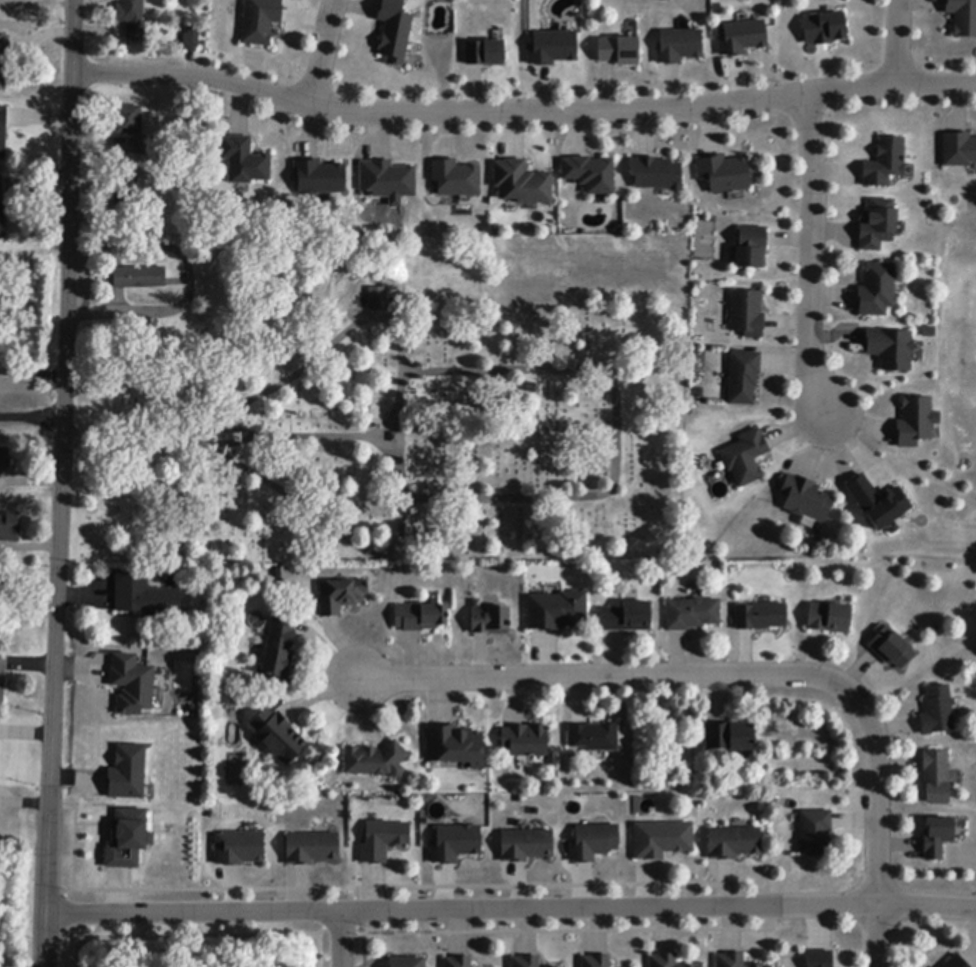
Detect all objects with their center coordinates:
building: (962, 16)
building: (132, 19)
building: (260, 21)
building: (824, 29)
building: (394, 31)
building: (191, 38)
building: (742, 38)
road: (898, 44)
building: (679, 46)
building: (552, 48)
building: (619, 51)
road: (319, 54)
building: (485, 54)
building: (4, 59)
road: (522, 113)
building: (129, 120)
building: (3, 132)
building: (144, 146)
building: (959, 150)
building: (244, 161)
building: (885, 163)
building: (590, 174)
building: (657, 174)
building: (724, 174)
building: (319, 178)
building: (455, 179)
building: (387, 180)
building: (522, 183)
building: (126, 192)
building: (2, 212)
building: (135, 219)
building: (877, 225)
building: (752, 248)
road: (812, 253)
building: (139, 278)
road: (187, 279)
building: (876, 290)
building: (378, 299)
building: (747, 314)
building: (891, 349)
road: (31, 372)
building: (743, 378)
park: (384, 408)
road: (30, 418)
building: (914, 422)
building: (394, 438)
building: (746, 457)
building: (5, 461)
road: (58, 483)
building: (806, 499)
building: (876, 501)
building: (11, 528)
building: (340, 596)
building: (145, 598)
building: (557, 611)
building: (692, 614)
building: (761, 616)
building: (420, 617)
building: (627, 617)
building: (829, 618)
building: (490, 621)
building: (280, 649)
building: (891, 649)
road: (745, 677)
building: (2, 678)
building: (132, 685)
building: (938, 711)
building: (279, 737)
building: (730, 737)
building: (594, 738)
building: (525, 741)
building: (456, 746)
building: (376, 761)
building: (128, 773)
building: (936, 777)
building: (815, 833)
building: (937, 838)
building: (126, 840)
building: (662, 840)
building: (383, 841)
building: (452, 841)
building: (594, 843)
building: (734, 843)
building: (526, 846)
building: (239, 847)
building: (312, 848)
road: (510, 910)
road: (339, 940)
building: (820, 959)
building: (663, 960)
building: (730, 960)
building: (596, 961)
building: (407, 962)
building: (458, 962)
building: (526, 962)
building: (956, 962)
building: (758, 965)
building: (689, 966)

